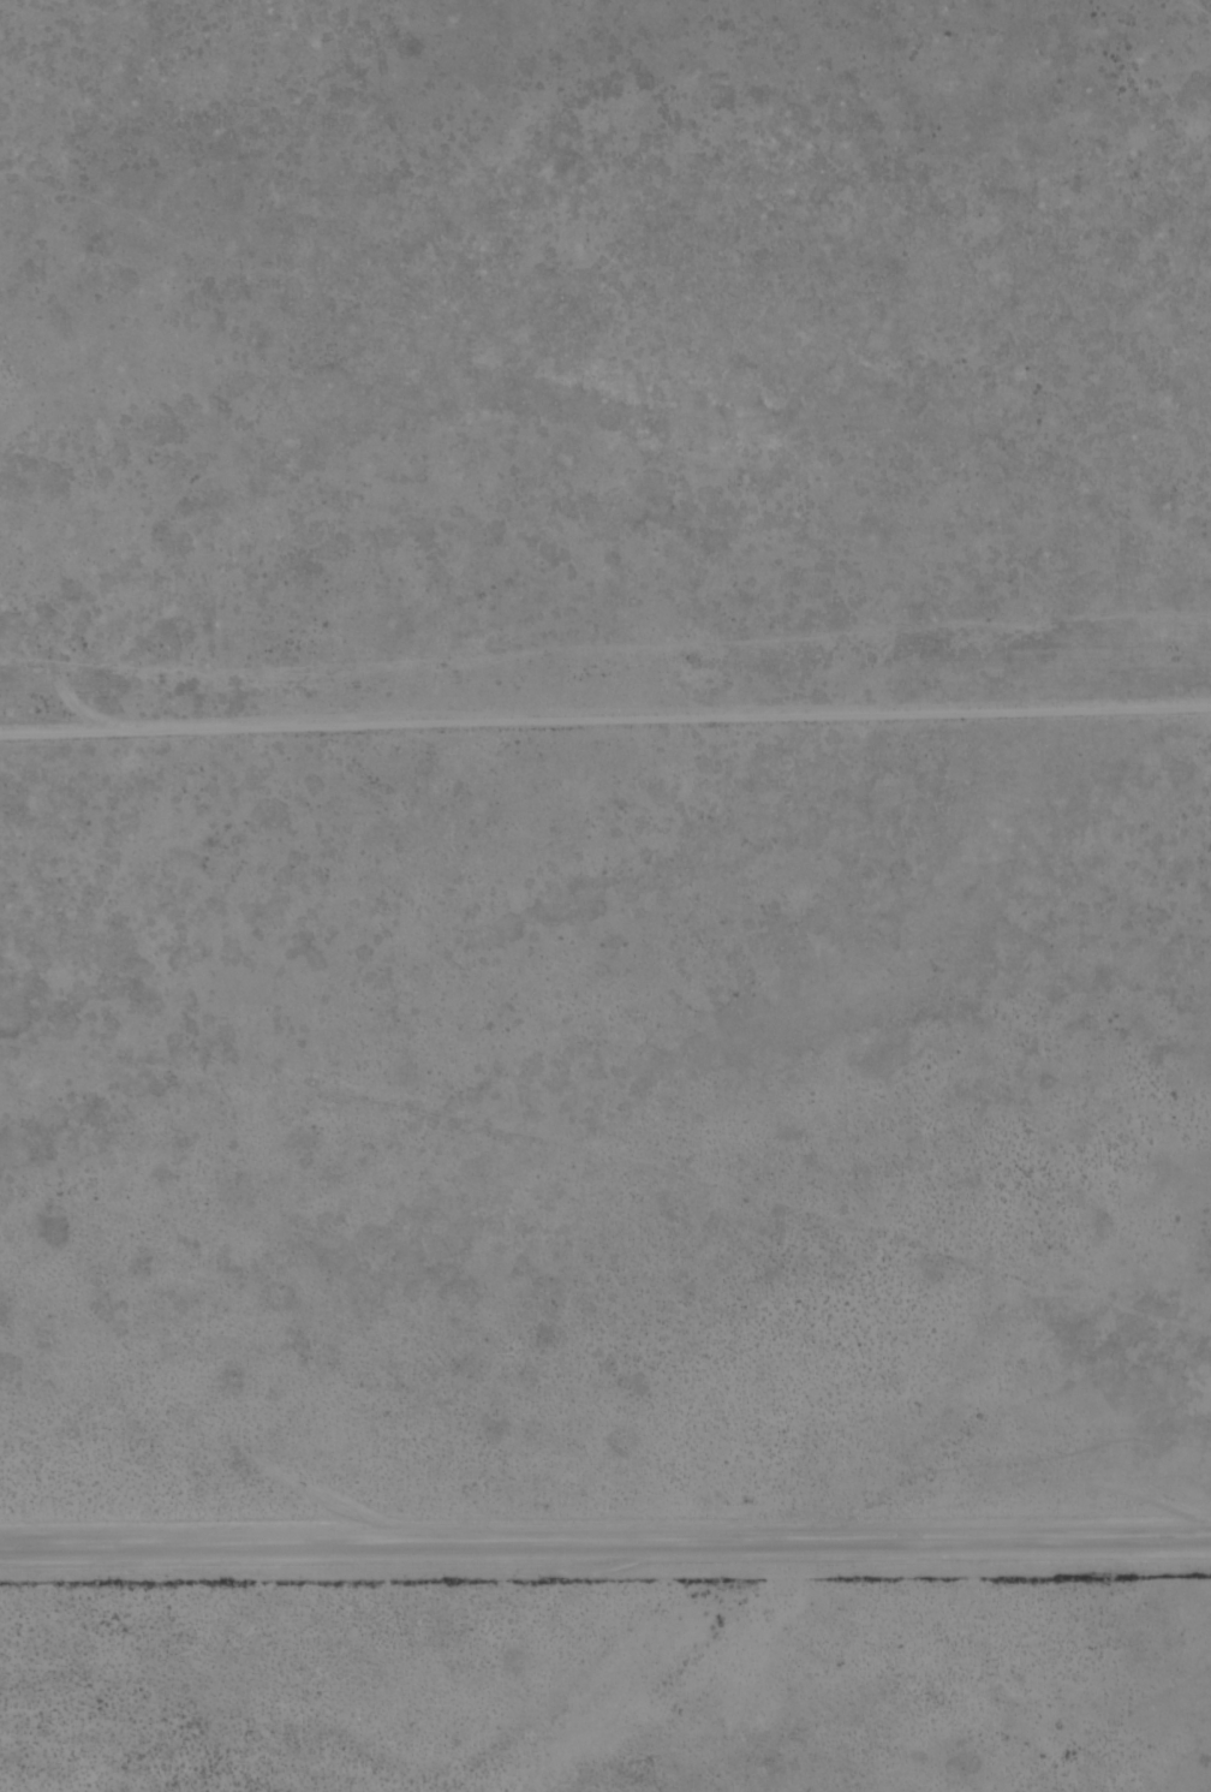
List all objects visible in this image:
road: (605, 1549)

